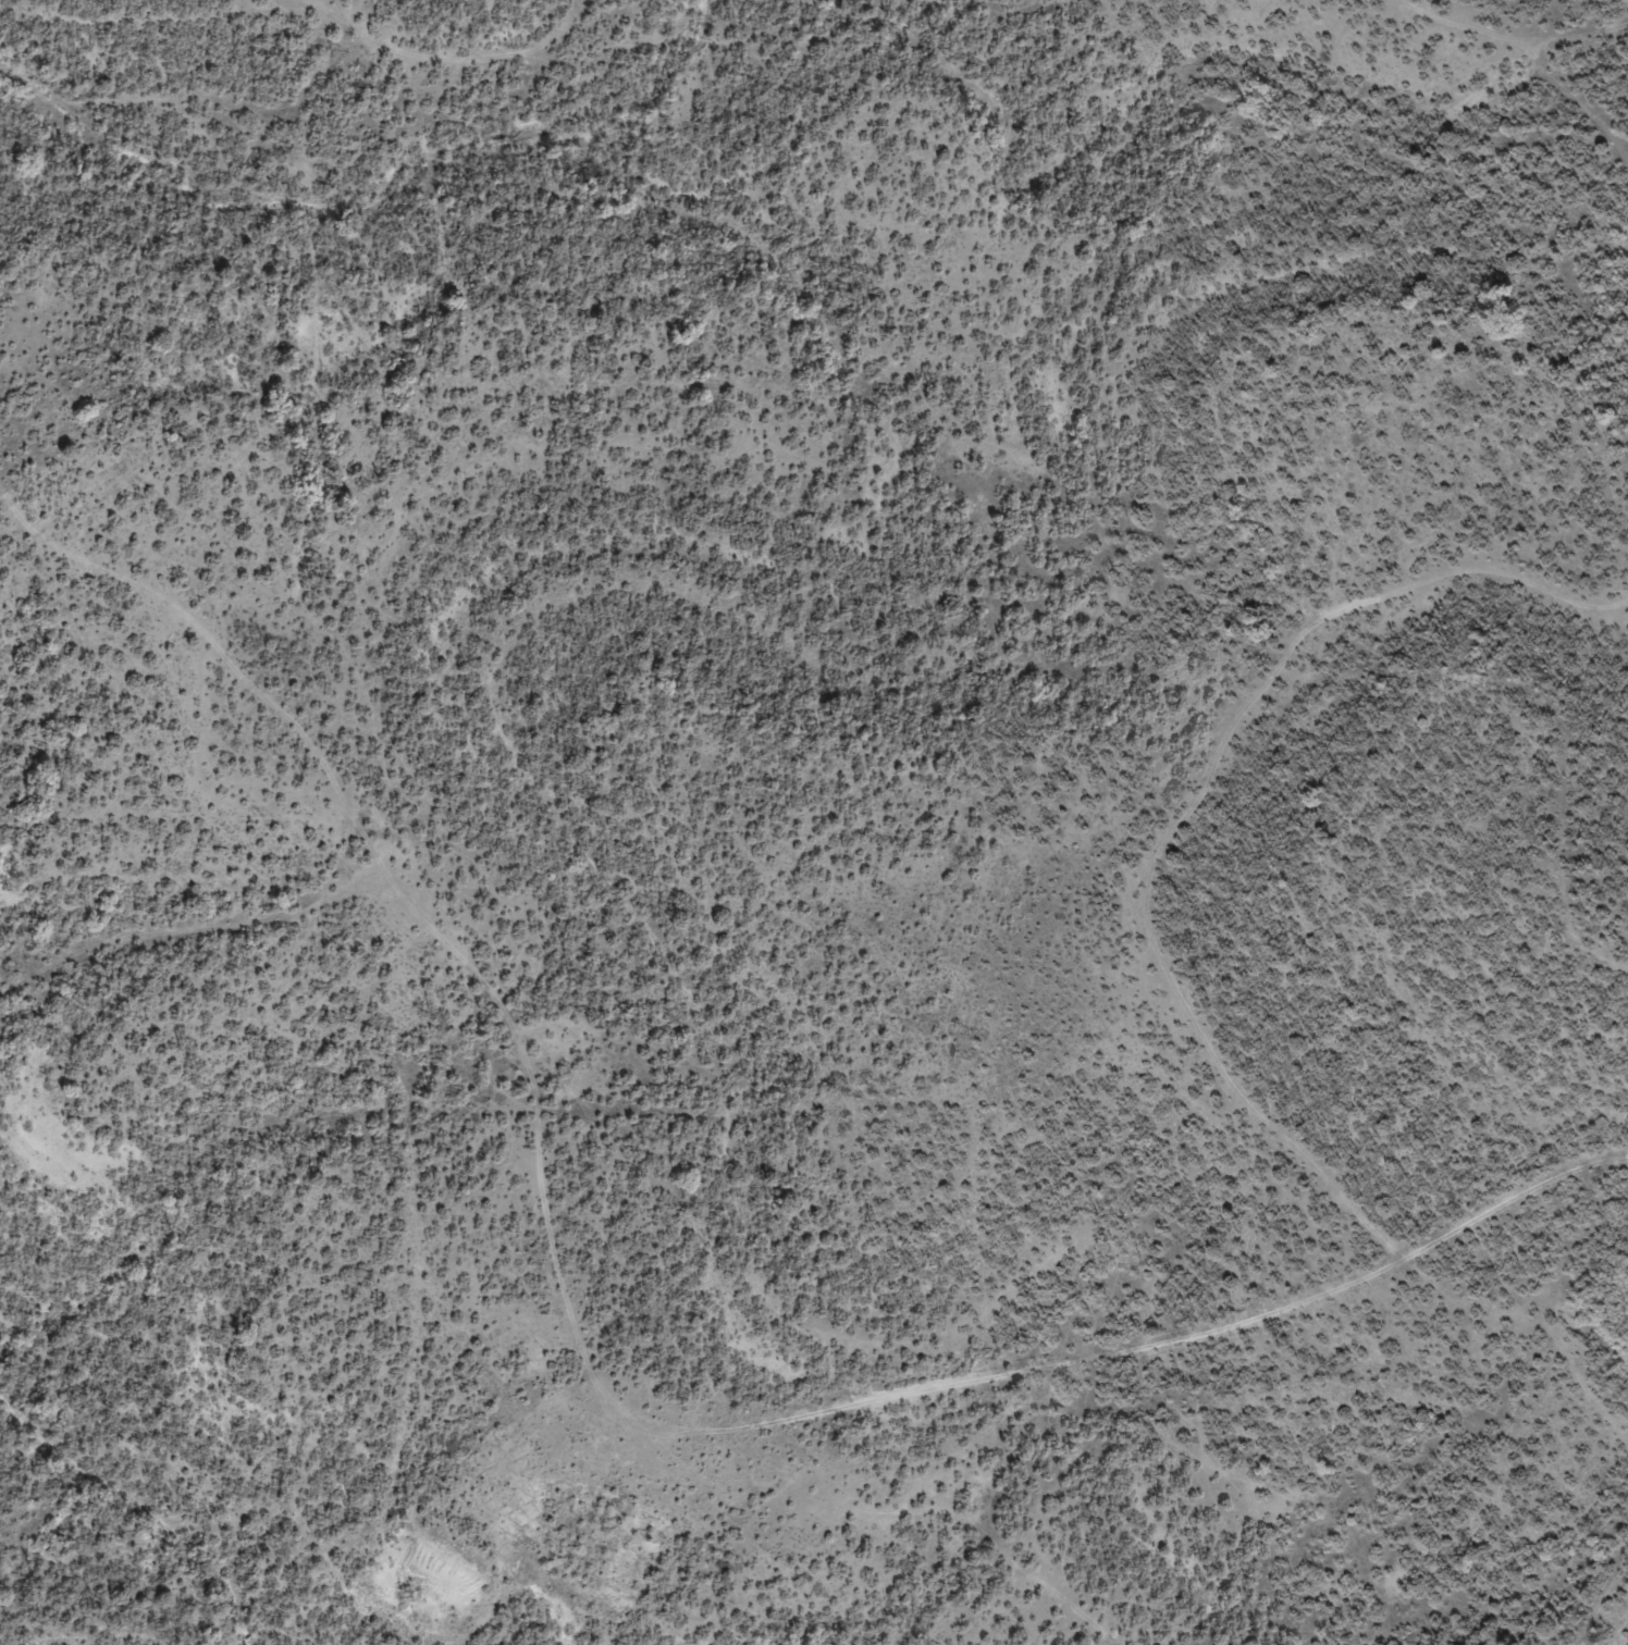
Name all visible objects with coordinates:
road: (464, 992)

